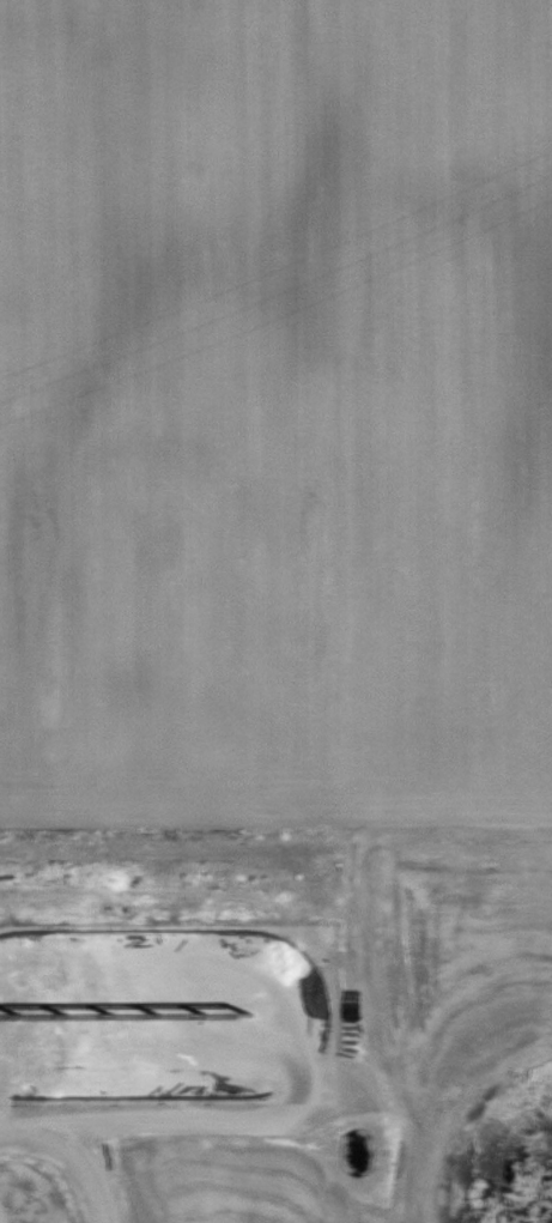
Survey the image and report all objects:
building: (286, 992)

